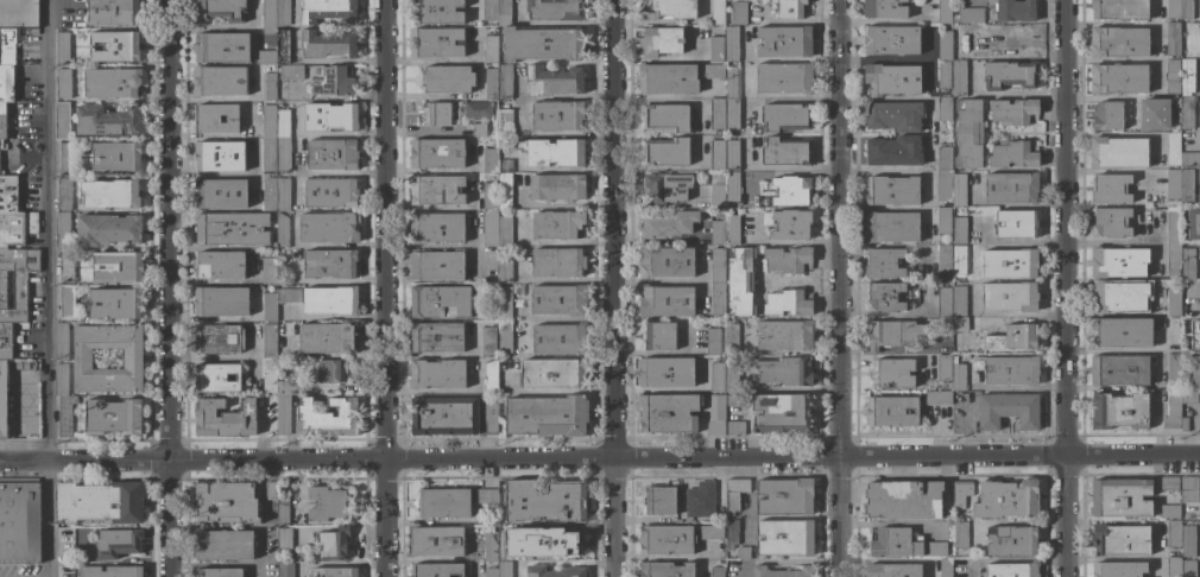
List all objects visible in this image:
building: (668, 8)
building: (789, 8)
building: (884, 8)
building: (1173, 8)
building: (220, 9)
building: (327, 9)
building: (490, 9)
building: (555, 9)
building: (1012, 9)
building: (1119, 9)
building: (1186, 9)
building: (1196, 9)
building: (113, 12)
building: (437, 12)
building: (716, 12)
building: (943, 12)
building: (18, 13)
building: (269, 13)
building: (283, 13)
building: (504, 13)
building: (738, 13)
building: (968, 14)
road: (1142, 24)
building: (269, 31)
building: (891, 39)
building: (1173, 39)
building: (1019, 40)
building: (436, 42)
building: (661, 42)
building: (784, 42)
building: (1119, 42)
building: (543, 44)
building: (731, 44)
building: (328, 45)
building: (943, 45)
building: (7, 46)
building: (114, 46)
building: (283, 46)
building: (1199, 46)
building: (63, 47)
building: (222, 47)
building: (491, 49)
building: (716, 49)
building: (979, 49)
building: (265, 57)
road: (1111, 61)
building: (710, 71)
building: (291, 72)
building: (943, 75)
building: (1009, 75)
building: (1173, 76)
building: (1187, 76)
building: (959, 77)
building: (448, 78)
building: (784, 78)
building: (1118, 78)
building: (667, 80)
building: (891, 80)
building: (219, 81)
building: (554, 81)
building: (112, 82)
building: (334, 82)
building: (505, 82)
building: (6, 83)
building: (63, 83)
building: (491, 83)
building: (731, 83)
building: (269, 87)
road: (554, 96)
road: (220, 99)
building: (1150, 106)
building: (478, 109)
building: (943, 109)
building: (1013, 112)
building: (1187, 112)
building: (436, 114)
building: (716, 114)
building: (731, 114)
building: (557, 115)
building: (1107, 115)
building: (331, 116)
building: (893, 116)
building: (665, 118)
building: (785, 118)
building: (216, 119)
building: (62, 120)
building: (4, 121)
building: (107, 121)
building: (269, 121)
building: (504, 122)
building: (283, 123)
building: (1161, 127)
building: (478, 129)
building: (968, 133)
road: (221, 134)
building: (2, 145)
building: (1173, 148)
building: (785, 151)
building: (895, 151)
building: (552, 152)
building: (665, 152)
building: (1118, 152)
building: (437, 153)
building: (1015, 153)
building: (269, 154)
building: (283, 154)
building: (331, 154)
building: (716, 154)
building: (219, 156)
building: (732, 156)
building: (116, 157)
building: (65, 158)
building: (943, 158)
building: (1189, 159)
building: (490, 160)
building: (505, 165)
building: (1, 173)
road: (217, 173)
building: (1173, 183)
building: (943, 185)
building: (1186, 185)
building: (557, 186)
building: (667, 186)
building: (732, 186)
building: (1011, 188)
building: (1110, 189)
building: (437, 190)
building: (504, 190)
building: (791, 190)
building: (959, 190)
building: (892, 191)
building: (331, 192)
building: (8, 194)
building: (63, 194)
building: (110, 194)
building: (220, 194)
building: (269, 194)
building: (283, 194)
building: (490, 195)
building: (718, 196)
building: (943, 220)
building: (1110, 222)
building: (1016, 223)
building: (1193, 223)
building: (557, 224)
building: (669, 224)
building: (791, 224)
building: (329, 227)
building: (890, 227)
building: (17, 228)
building: (436, 228)
building: (490, 228)
building: (108, 229)
building: (230, 229)
building: (282, 229)
building: (732, 229)
building: (959, 229)
road: (45, 230)
building: (62, 230)
building: (504, 230)
building: (718, 233)
road: (1154, 240)
building: (1171, 240)
road: (1109, 241)
building: (788, 259)
building: (943, 259)
building: (959, 260)
building: (1118, 261)
building: (329, 262)
building: (558, 262)
building: (665, 262)
building: (1010, 262)
building: (1198, 262)
building: (884, 264)
building: (1187, 264)
building: (219, 265)
building: (716, 265)
building: (65, 266)
building: (437, 266)
building: (116, 267)
building: (269, 271)
building: (504, 272)
building: (17, 281)
building: (739, 281)
road: (383, 287)
road: (613, 287)
road: (838, 287)
road: (166, 288)
road: (1063, 288)
building: (288, 296)
building: (1010, 296)
building: (1119, 296)
building: (885, 297)
building: (716, 298)
building: (330, 300)
building: (558, 300)
building: (667, 300)
building: (959, 300)
building: (67, 302)
building: (221, 302)
building: (440, 302)
building: (789, 302)
building: (943, 302)
building: (115, 303)
building: (505, 303)
building: (1173, 303)
road: (1188, 305)
building: (270, 306)
building: (960, 324)
building: (892, 332)
building: (1120, 332)
building: (785, 335)
building: (505, 336)
building: (659, 336)
building: (329, 337)
building: (437, 337)
building: (1013, 337)
building: (219, 338)
building: (560, 338)
building: (732, 340)
building: (5, 341)
building: (270, 341)
building: (488, 341)
building: (62, 342)
building: (712, 342)
building: (1199, 342)
building: (133, 359)
building: (943, 367)
building: (1174, 368)
building: (1008, 369)
building: (331, 370)
building: (1118, 370)
building: (547, 372)
building: (665, 372)
building: (787, 372)
building: (732, 373)
building: (892, 373)
building: (1195, 373)
building: (270, 374)
building: (437, 374)
building: (718, 374)
building: (217, 376)
building: (491, 376)
building: (958, 376)
building: (62, 379)
building: (284, 387)
building: (937, 397)
building: (731, 399)
building: (4, 406)
building: (1177, 407)
building: (1008, 410)
building: (1120, 410)
building: (892, 411)
building: (669, 412)
building: (283, 413)
building: (491, 413)
building: (782, 413)
building: (65, 414)
building: (716, 414)
building: (444, 416)
building: (548, 416)
building: (113, 417)
building: (223, 418)
building: (328, 418)
building: (735, 427)
road: (623, 456)
road: (24, 461)
building: (1169, 482)
building: (1189, 489)
building: (734, 493)
building: (960, 493)
building: (785, 496)
building: (1120, 497)
building: (903, 499)
building: (1006, 499)
building: (659, 500)
building: (700, 500)
building: (453, 501)
building: (544, 501)
building: (99, 502)
building: (226, 502)
building: (271, 503)
building: (327, 503)
building: (1169, 511)
building: (283, 512)
road: (48, 519)
building: (19, 520)
building: (689, 520)
building: (712, 532)
building: (732, 532)
building: (1173, 533)
building: (960, 534)
building: (506, 537)
building: (284, 538)
building: (785, 538)
building: (665, 539)
building: (1011, 540)
building: (1122, 540)
building: (437, 541)
building: (1187, 541)
building: (118, 543)
building: (334, 543)
building: (566, 544)
building: (903, 544)
building: (223, 545)
building: (491, 546)
building: (743, 552)
building: (1173, 566)
building: (946, 568)
building: (285, 569)
building: (505, 569)
building: (1118, 569)
building: (1188, 569)
building: (437, 570)
building: (667, 570)
building: (893, 570)
building: (1012, 570)
building: (110, 571)
building: (554, 571)
building: (716, 571)
building: (219, 572)
building: (334, 572)
building: (491, 572)
building: (781, 572)

